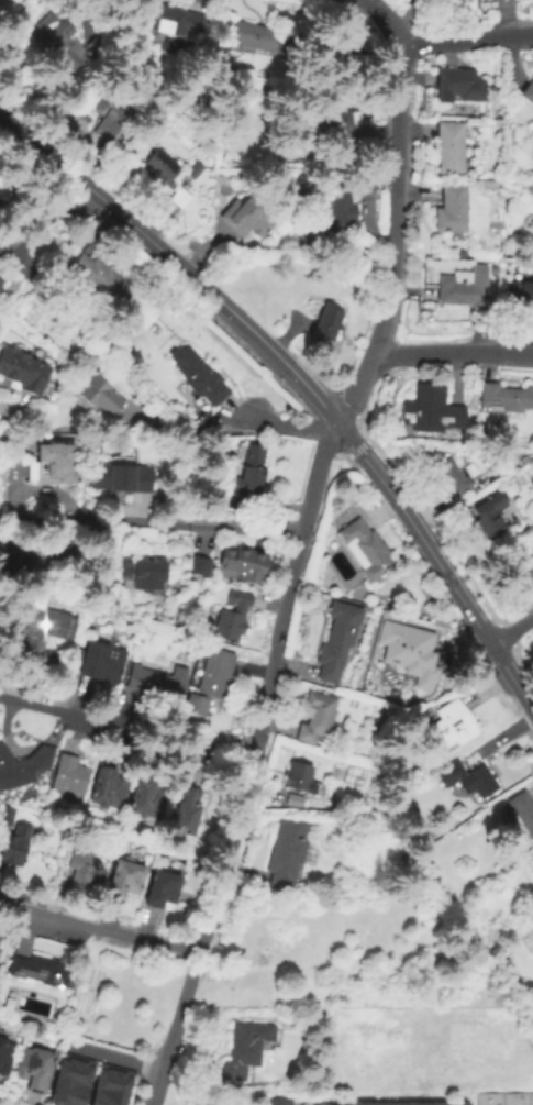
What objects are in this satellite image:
road: (93, 13)
building: (173, 22)
road: (436, 35)
building: (251, 40)
building: (58, 42)
building: (458, 86)
building: (528, 92)
building: (109, 114)
building: (335, 126)
building: (449, 147)
building: (160, 170)
building: (193, 172)
building: (179, 199)
building: (338, 209)
building: (452, 209)
road: (396, 213)
building: (249, 218)
road: (52, 231)
road: (173, 262)
building: (366, 264)
building: (99, 277)
building: (2, 281)
building: (464, 288)
building: (520, 295)
building: (327, 322)
road: (285, 338)
road: (453, 354)
building: (24, 371)
building: (197, 376)
building: (97, 396)
building: (506, 398)
building: (431, 411)
road: (11, 420)
road: (286, 426)
road: (207, 430)
road: (356, 447)
road: (336, 454)
building: (52, 465)
building: (248, 474)
building: (119, 477)
building: (451, 479)
road: (425, 511)
road: (152, 521)
building: (490, 522)
building: (365, 551)
building: (16, 559)
building: (532, 561)
road: (437, 565)
building: (245, 566)
building: (197, 567)
building: (144, 574)
building: (529, 576)
building: (229, 619)
road: (510, 630)
road: (459, 634)
road: (502, 638)
building: (27, 639)
building: (337, 642)
building: (408, 650)
road: (469, 654)
building: (101, 663)
road: (522, 663)
building: (210, 683)
building: (154, 685)
road: (484, 688)
building: (317, 719)
building: (452, 727)
road: (125, 729)
road: (254, 747)
building: (18, 766)
building: (68, 776)
building: (299, 778)
building: (467, 780)
building: (107, 788)
building: (148, 798)
building: (292, 803)
building: (187, 813)
building: (522, 814)
building: (5, 817)
building: (15, 848)
building: (287, 854)
building: (84, 869)
building: (125, 881)
building: (163, 889)
building: (531, 899)
road: (98, 930)
building: (42, 973)
building: (245, 1049)
road: (111, 1057)
building: (4, 1059)
building: (33, 1069)
building: (63, 1081)
building: (80, 1082)
building: (102, 1085)
building: (121, 1087)
road: (157, 1087)
building: (487, 1098)
building: (513, 1098)
building: (530, 1098)
building: (277, 1102)
building: (411, 1102)
building: (193, 1103)

